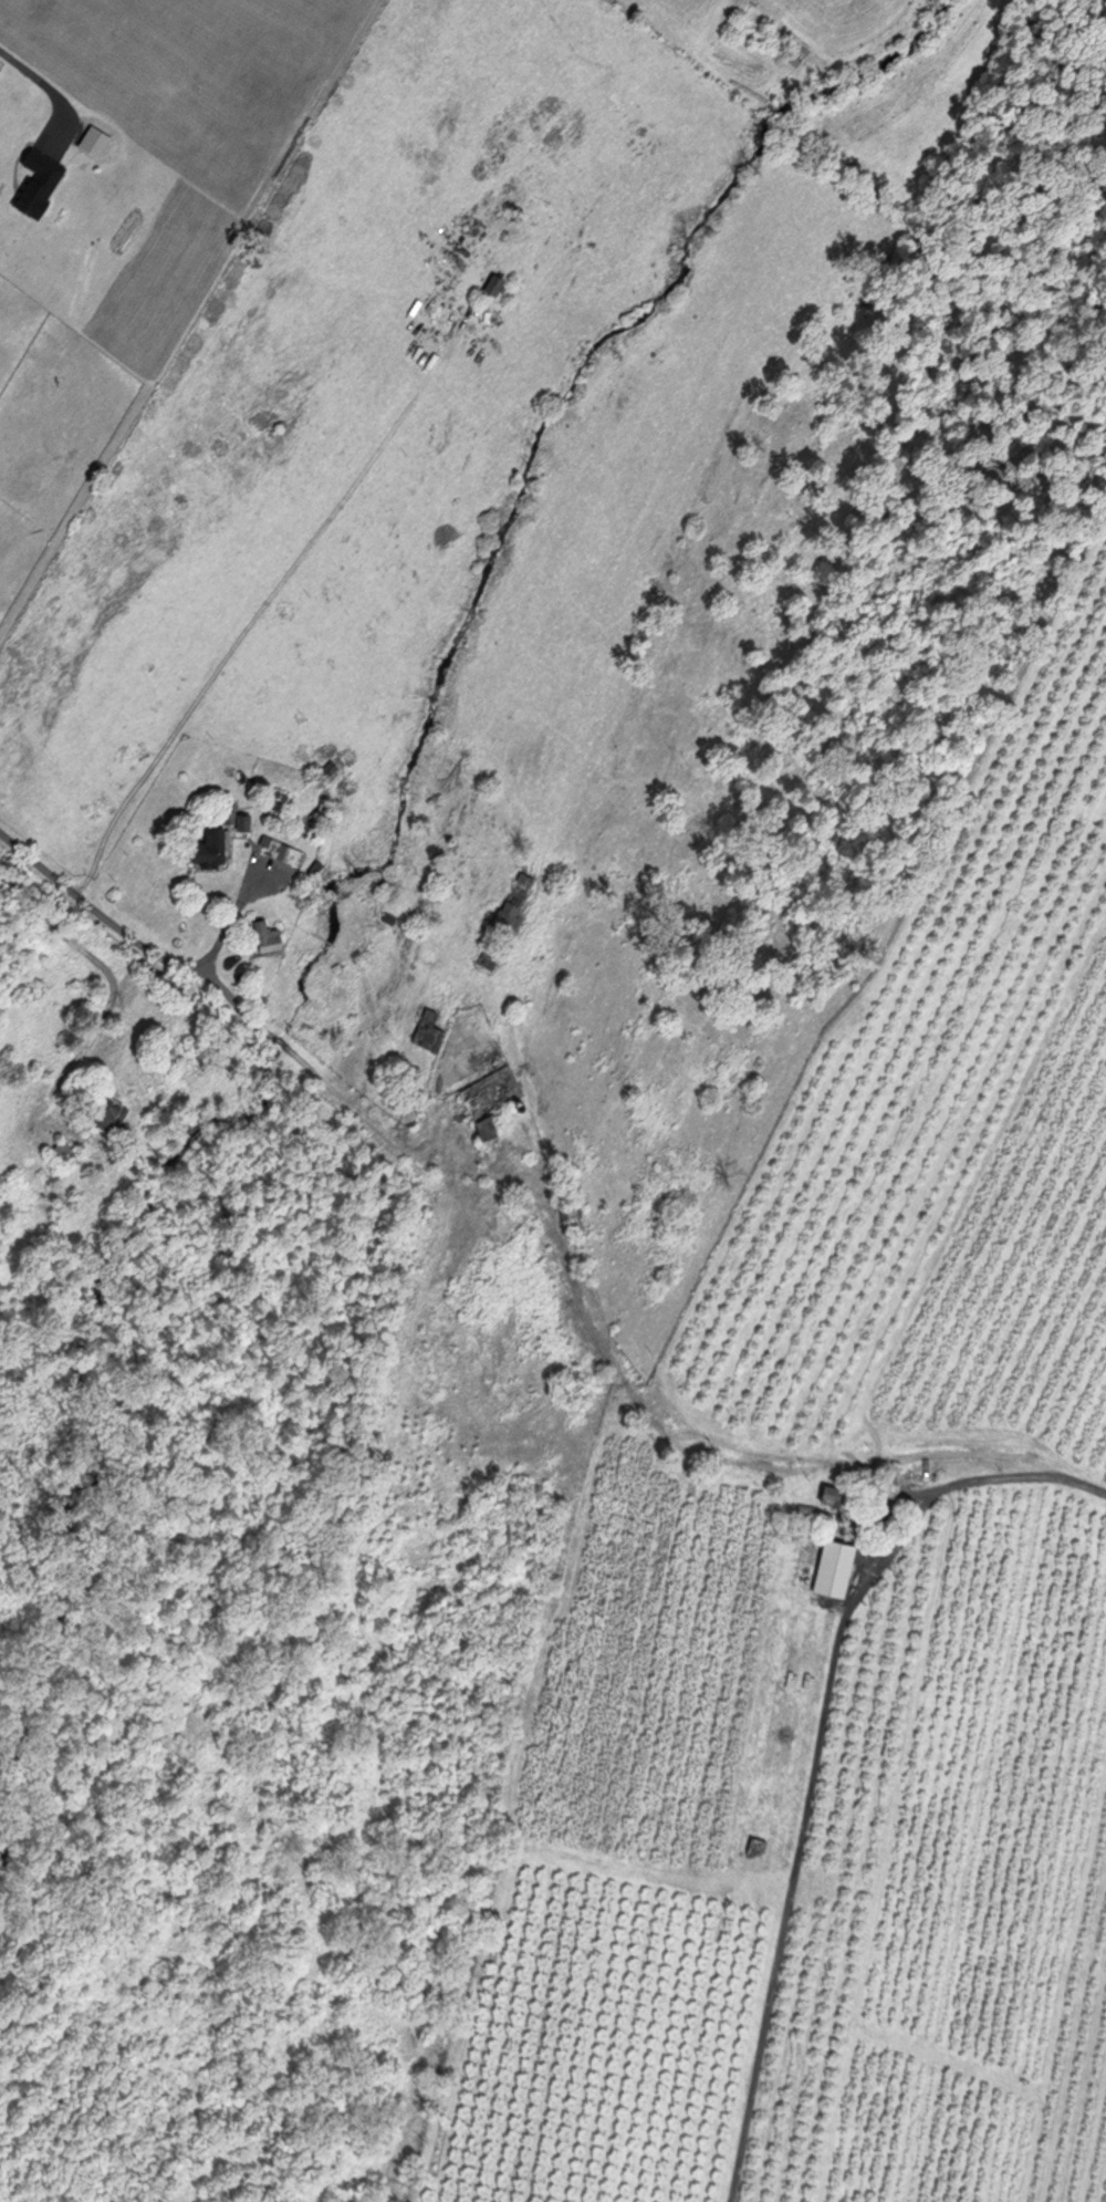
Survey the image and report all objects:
road: (41, 84)
building: (498, 282)
road: (250, 622)
building: (244, 820)
building: (216, 846)
building: (284, 849)
building: (518, 890)
road: (228, 921)
building: (271, 936)
road: (199, 990)
building: (108, 1110)
building: (64, 1152)
road: (580, 1309)
road: (1009, 1471)
building: (835, 1496)
road: (577, 1516)
building: (849, 1567)

